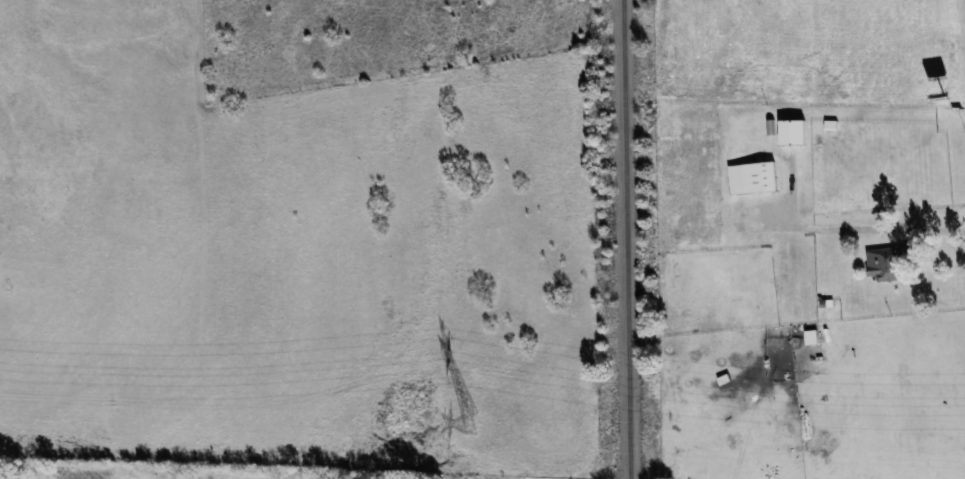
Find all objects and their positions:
building: (793, 133)
building: (753, 178)
road: (850, 227)
railway: (625, 239)
building: (894, 260)
power tower: (471, 423)

